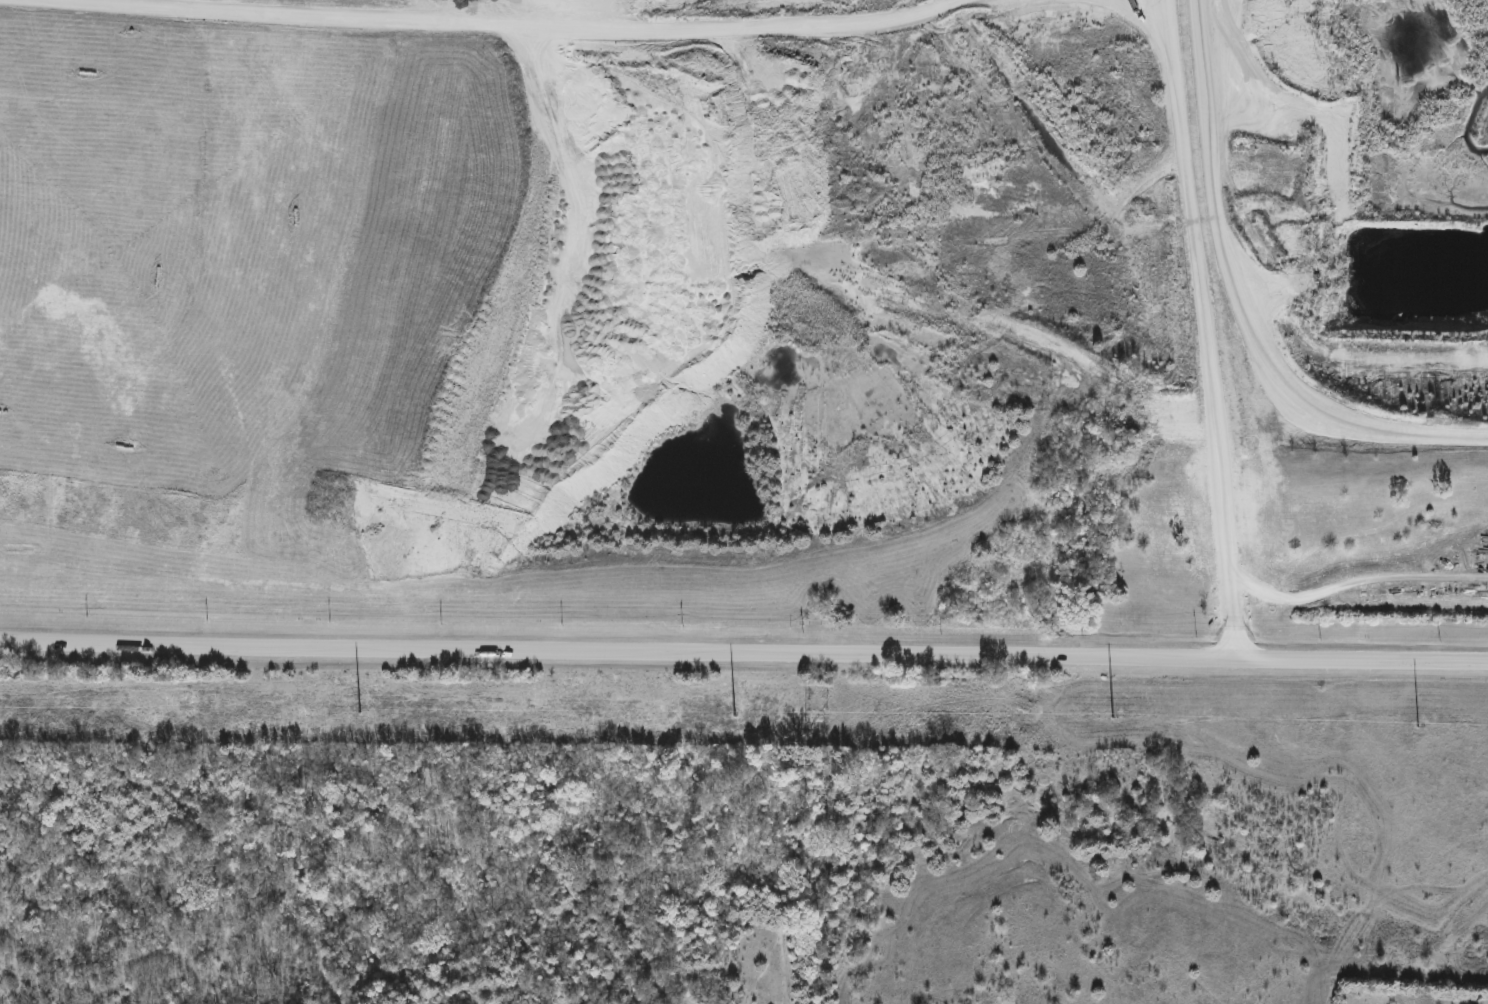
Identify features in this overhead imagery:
road: (242, 10)
road: (612, 20)
road: (1244, 298)
road: (743, 659)

